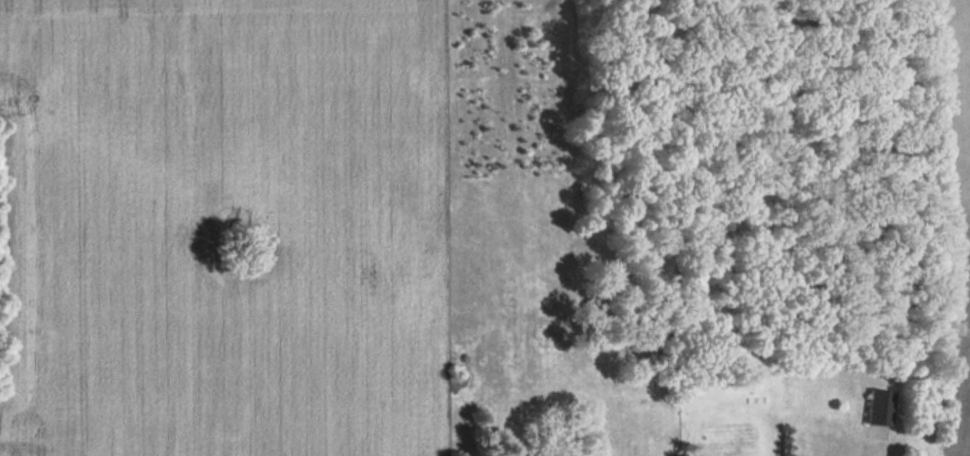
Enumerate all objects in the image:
crop: (954, 222)
crop: (218, 229)
building: (880, 408)

